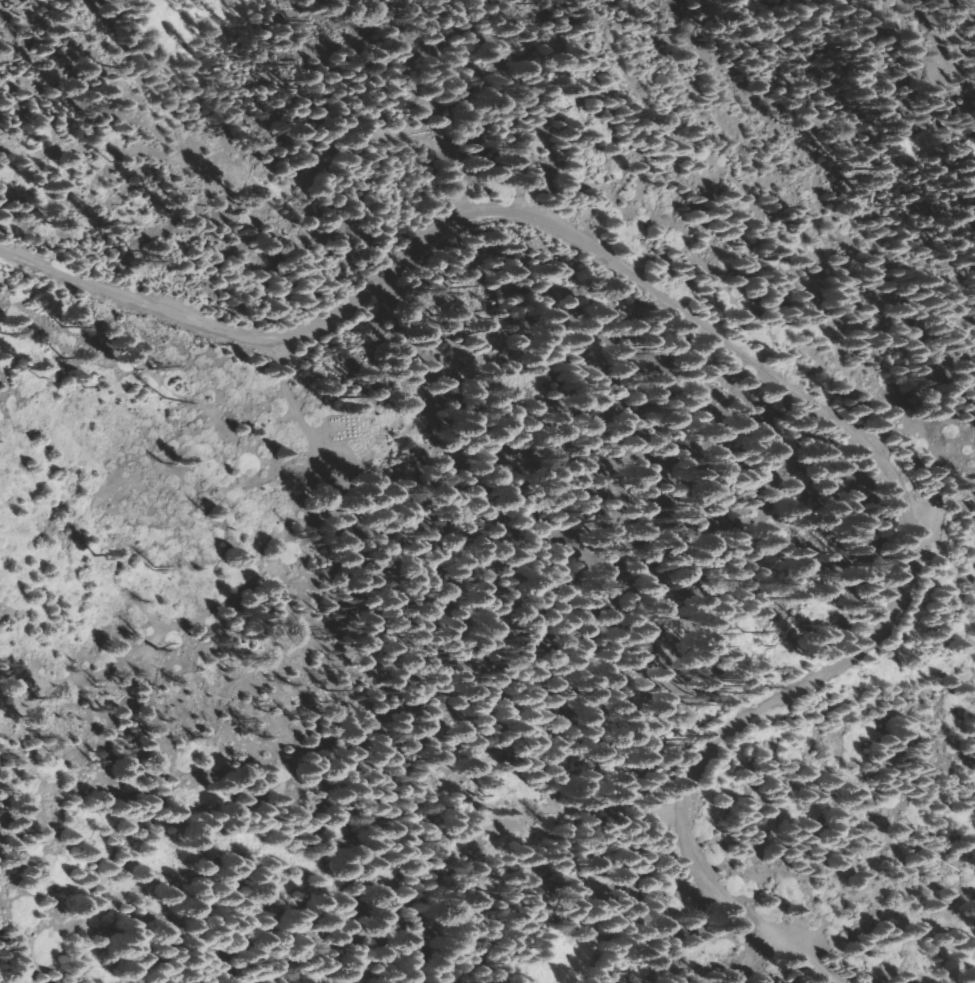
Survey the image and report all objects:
road: (688, 305)
road: (637, 979)
road: (648, 979)

